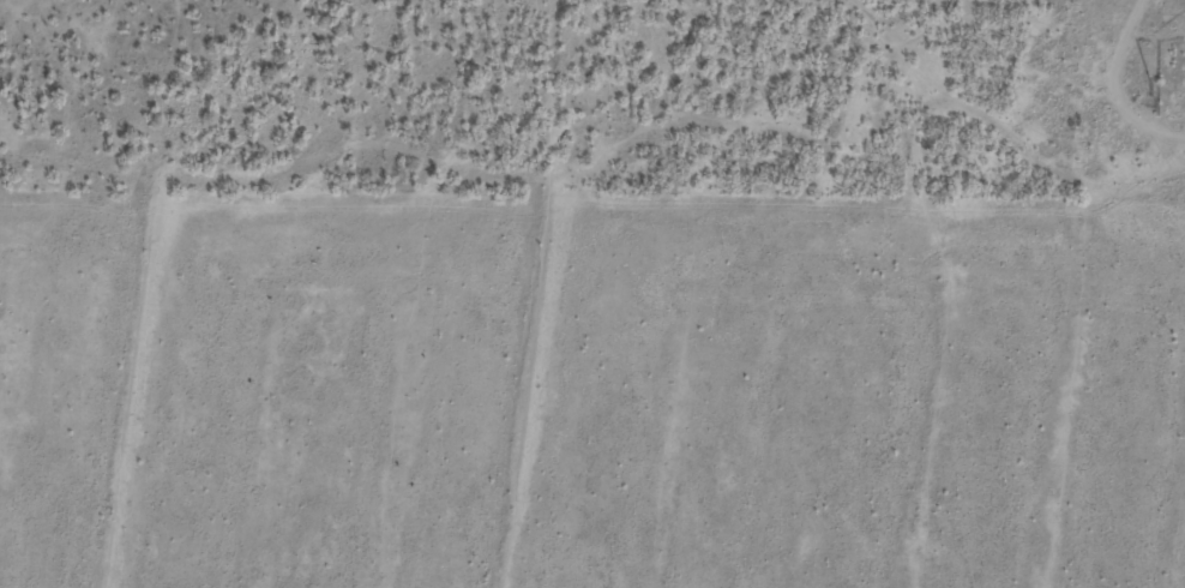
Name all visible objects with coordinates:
road: (1039, 200)
road: (712, 218)

